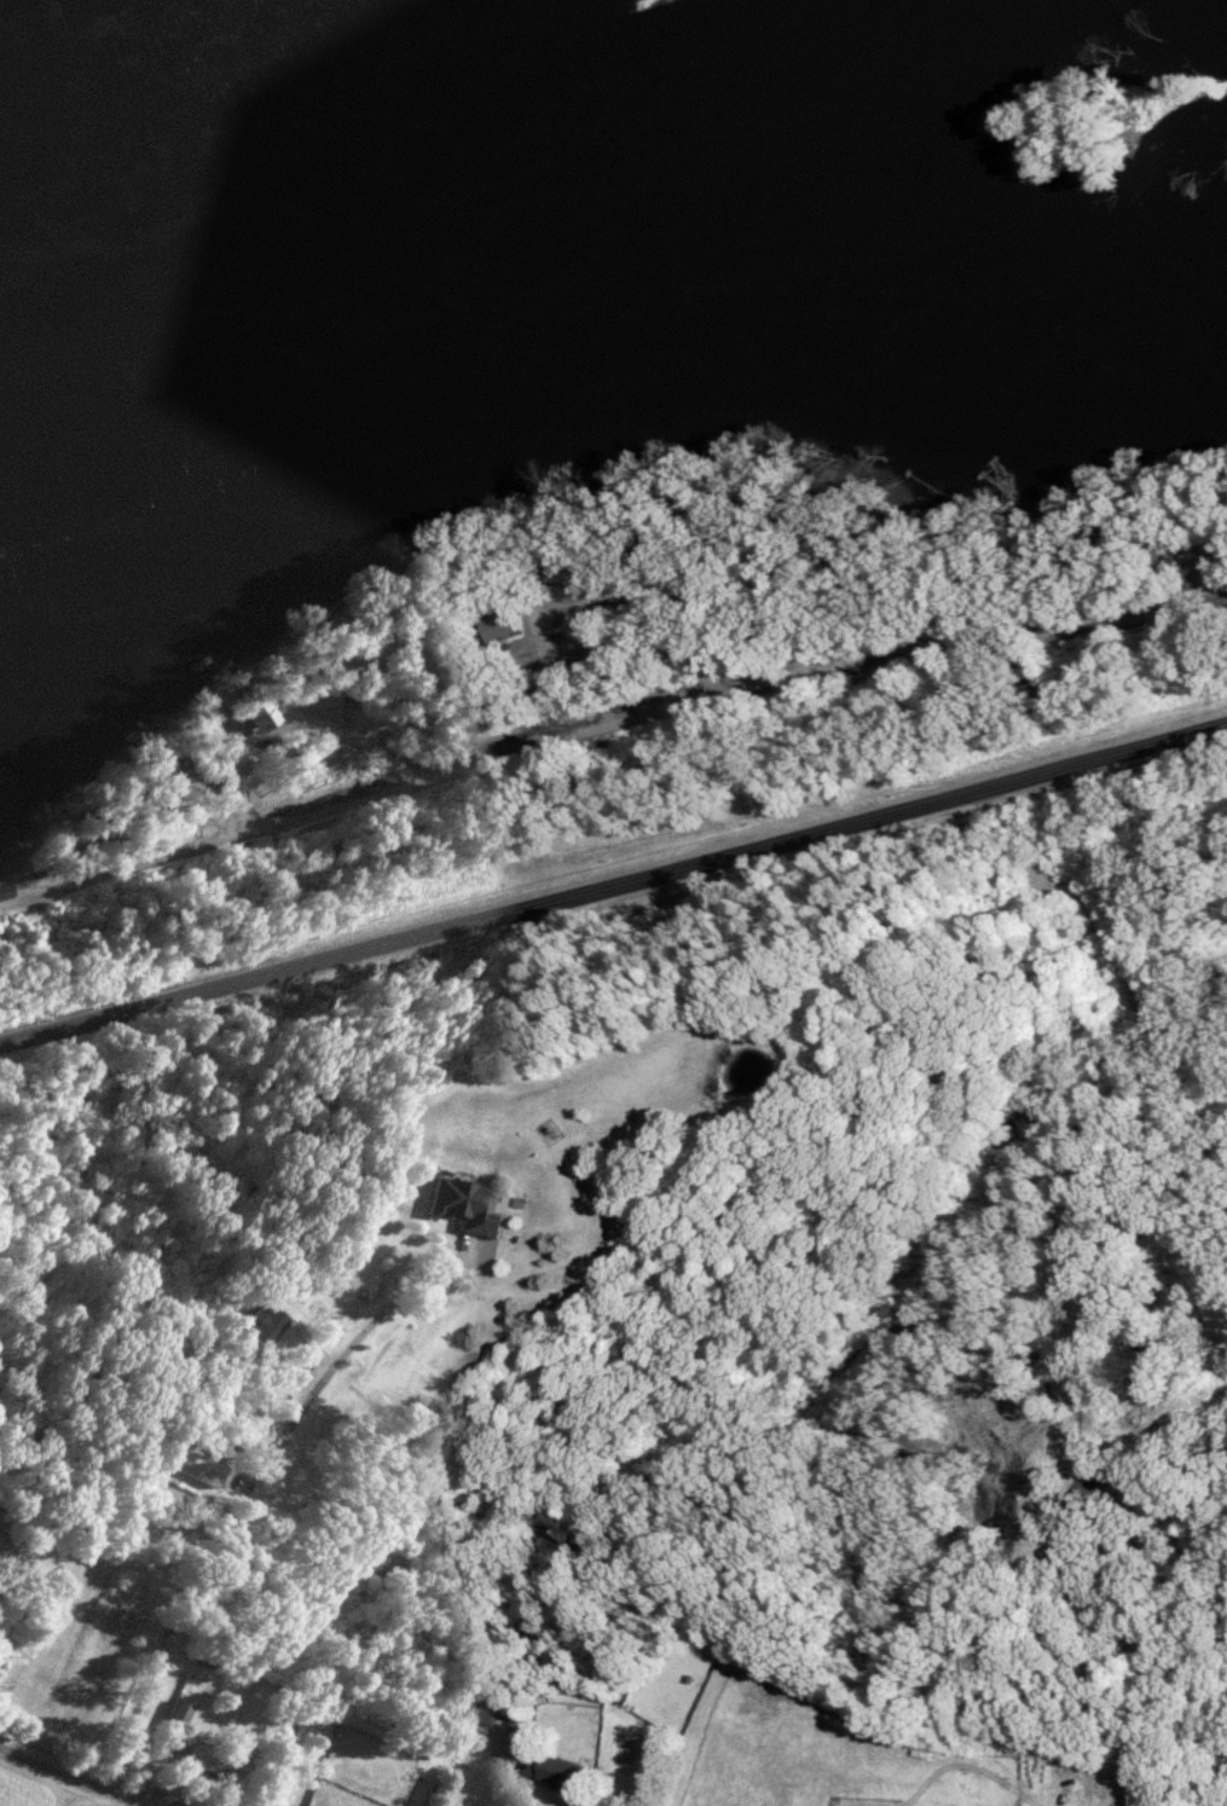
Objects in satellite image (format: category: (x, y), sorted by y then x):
building: (516, 626)
road: (614, 885)
building: (6, 890)
building: (470, 1204)
building: (268, 1325)
building: (481, 1711)
building: (215, 1761)
building: (562, 1770)
road: (74, 1778)

